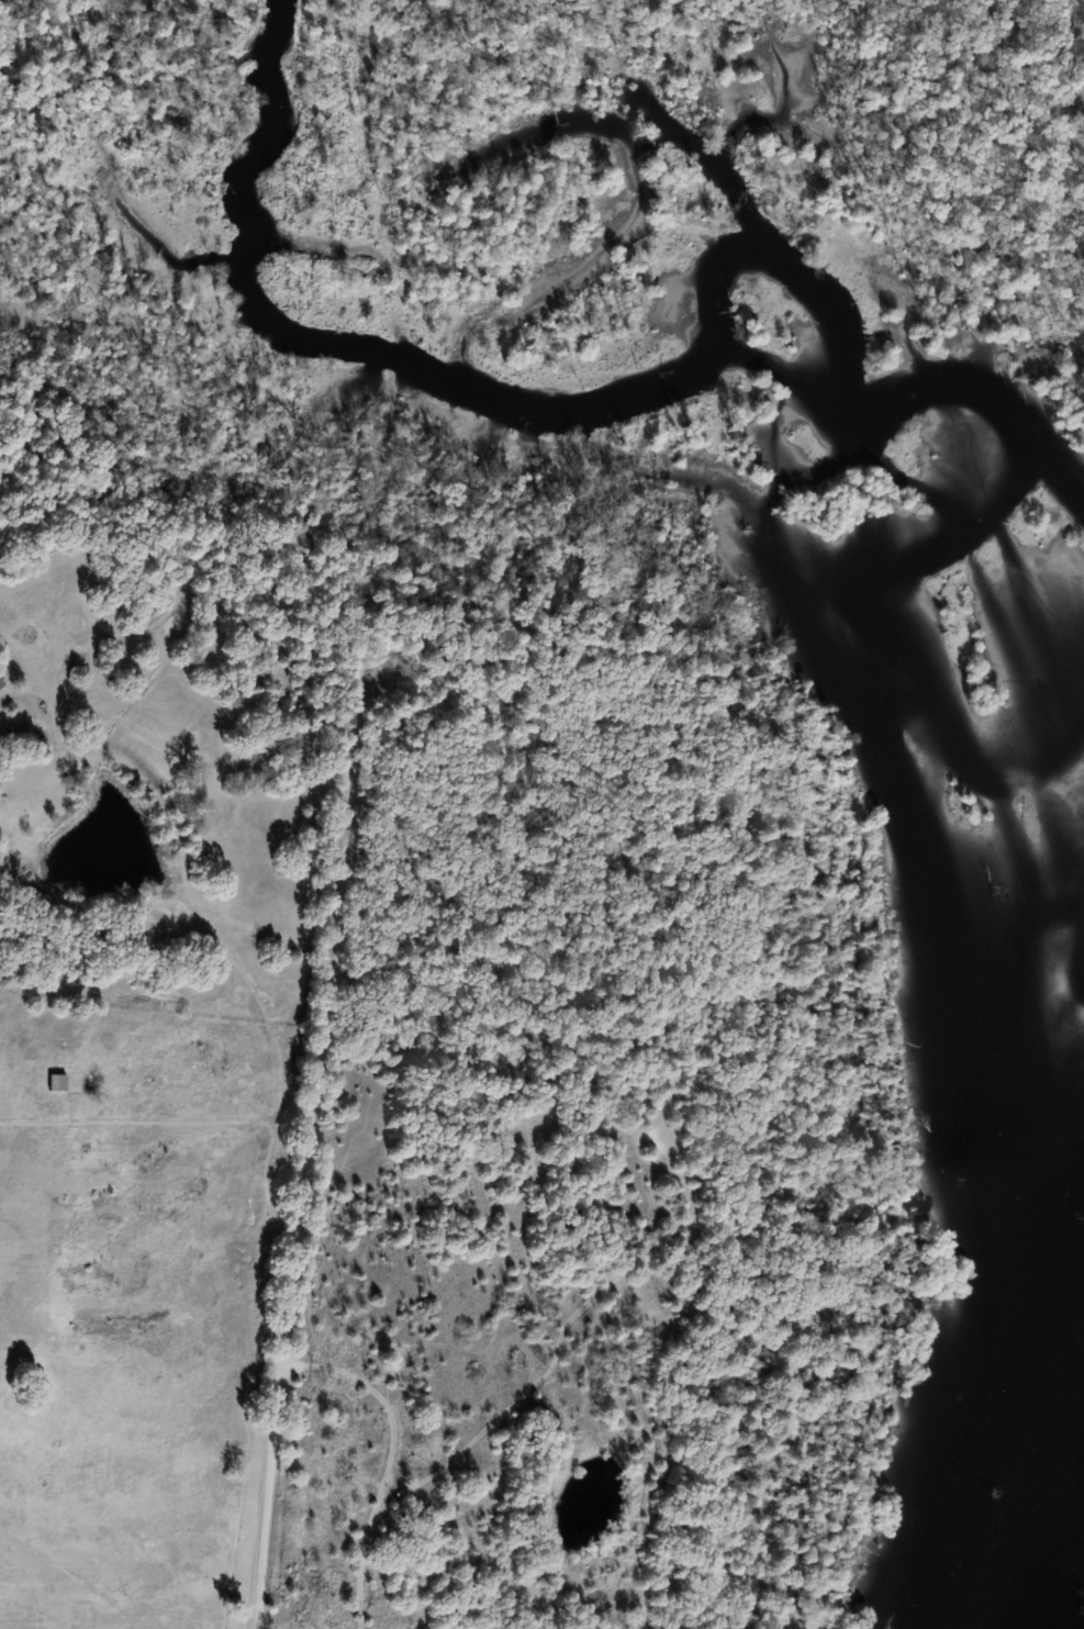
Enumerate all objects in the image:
building: (1, 684)
building: (56, 1082)
road: (265, 1515)

